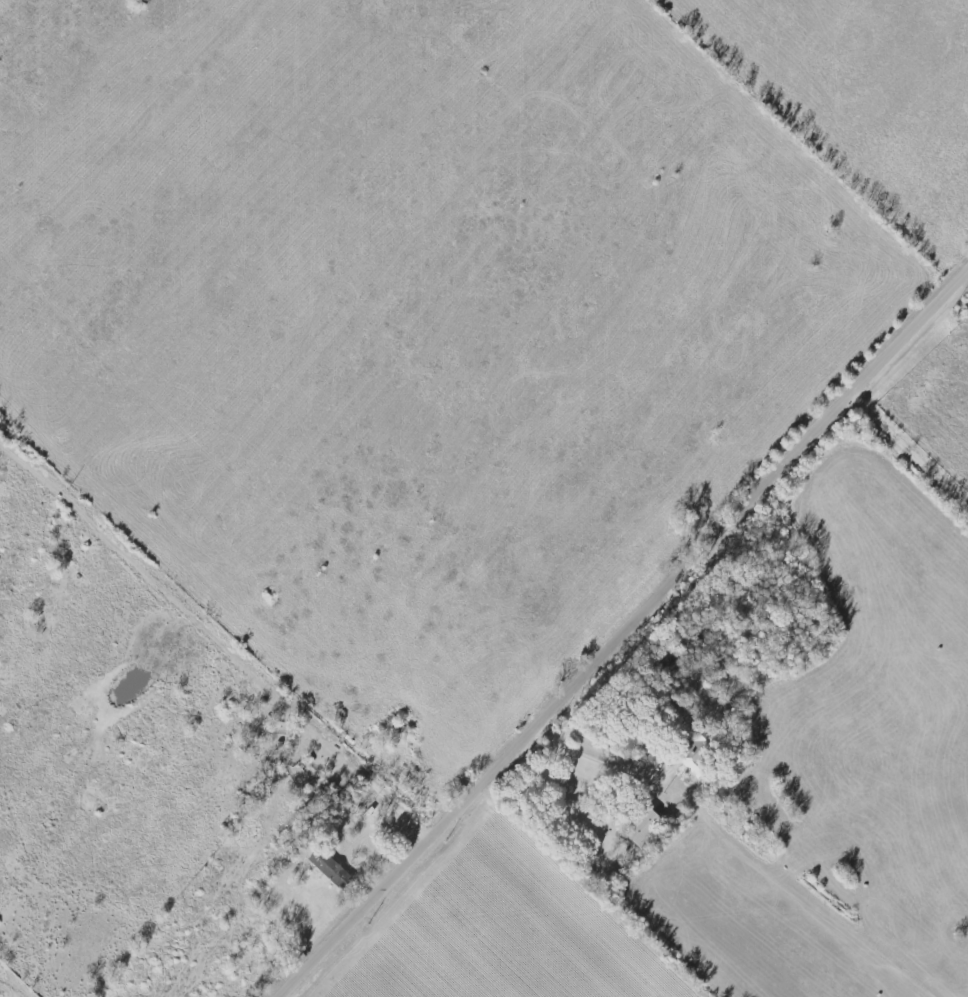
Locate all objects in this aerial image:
road: (911, 451)
road: (624, 636)
road: (299, 711)
road: (593, 757)
building: (638, 827)
building: (324, 868)

